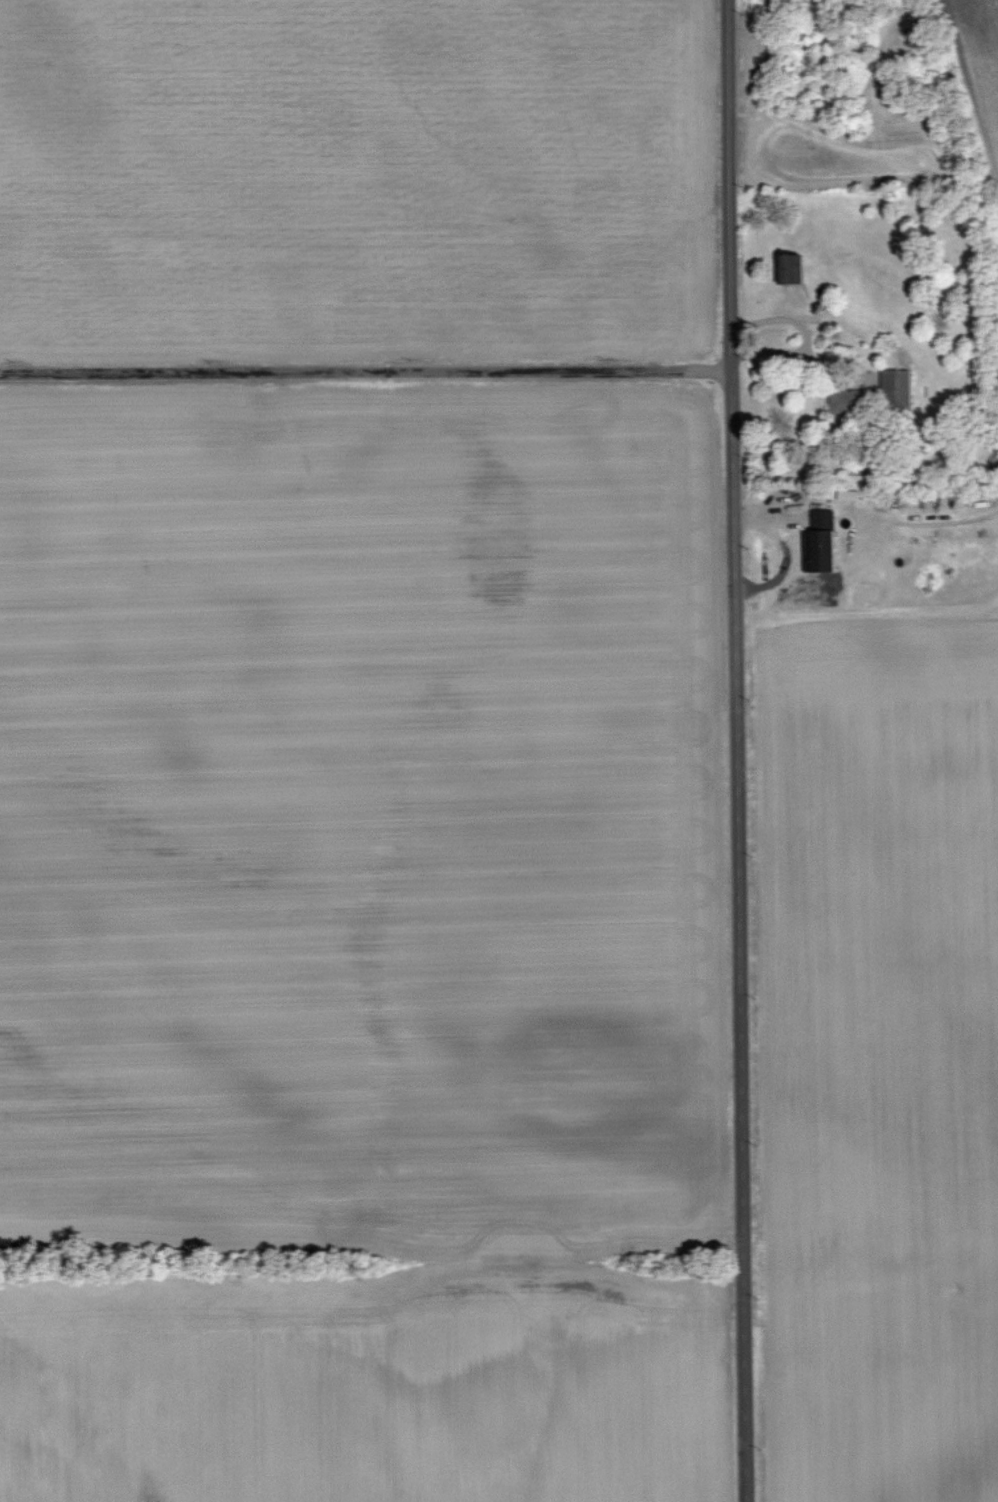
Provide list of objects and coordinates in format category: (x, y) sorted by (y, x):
building: (792, 269)
road: (366, 373)
building: (902, 387)
road: (736, 751)

